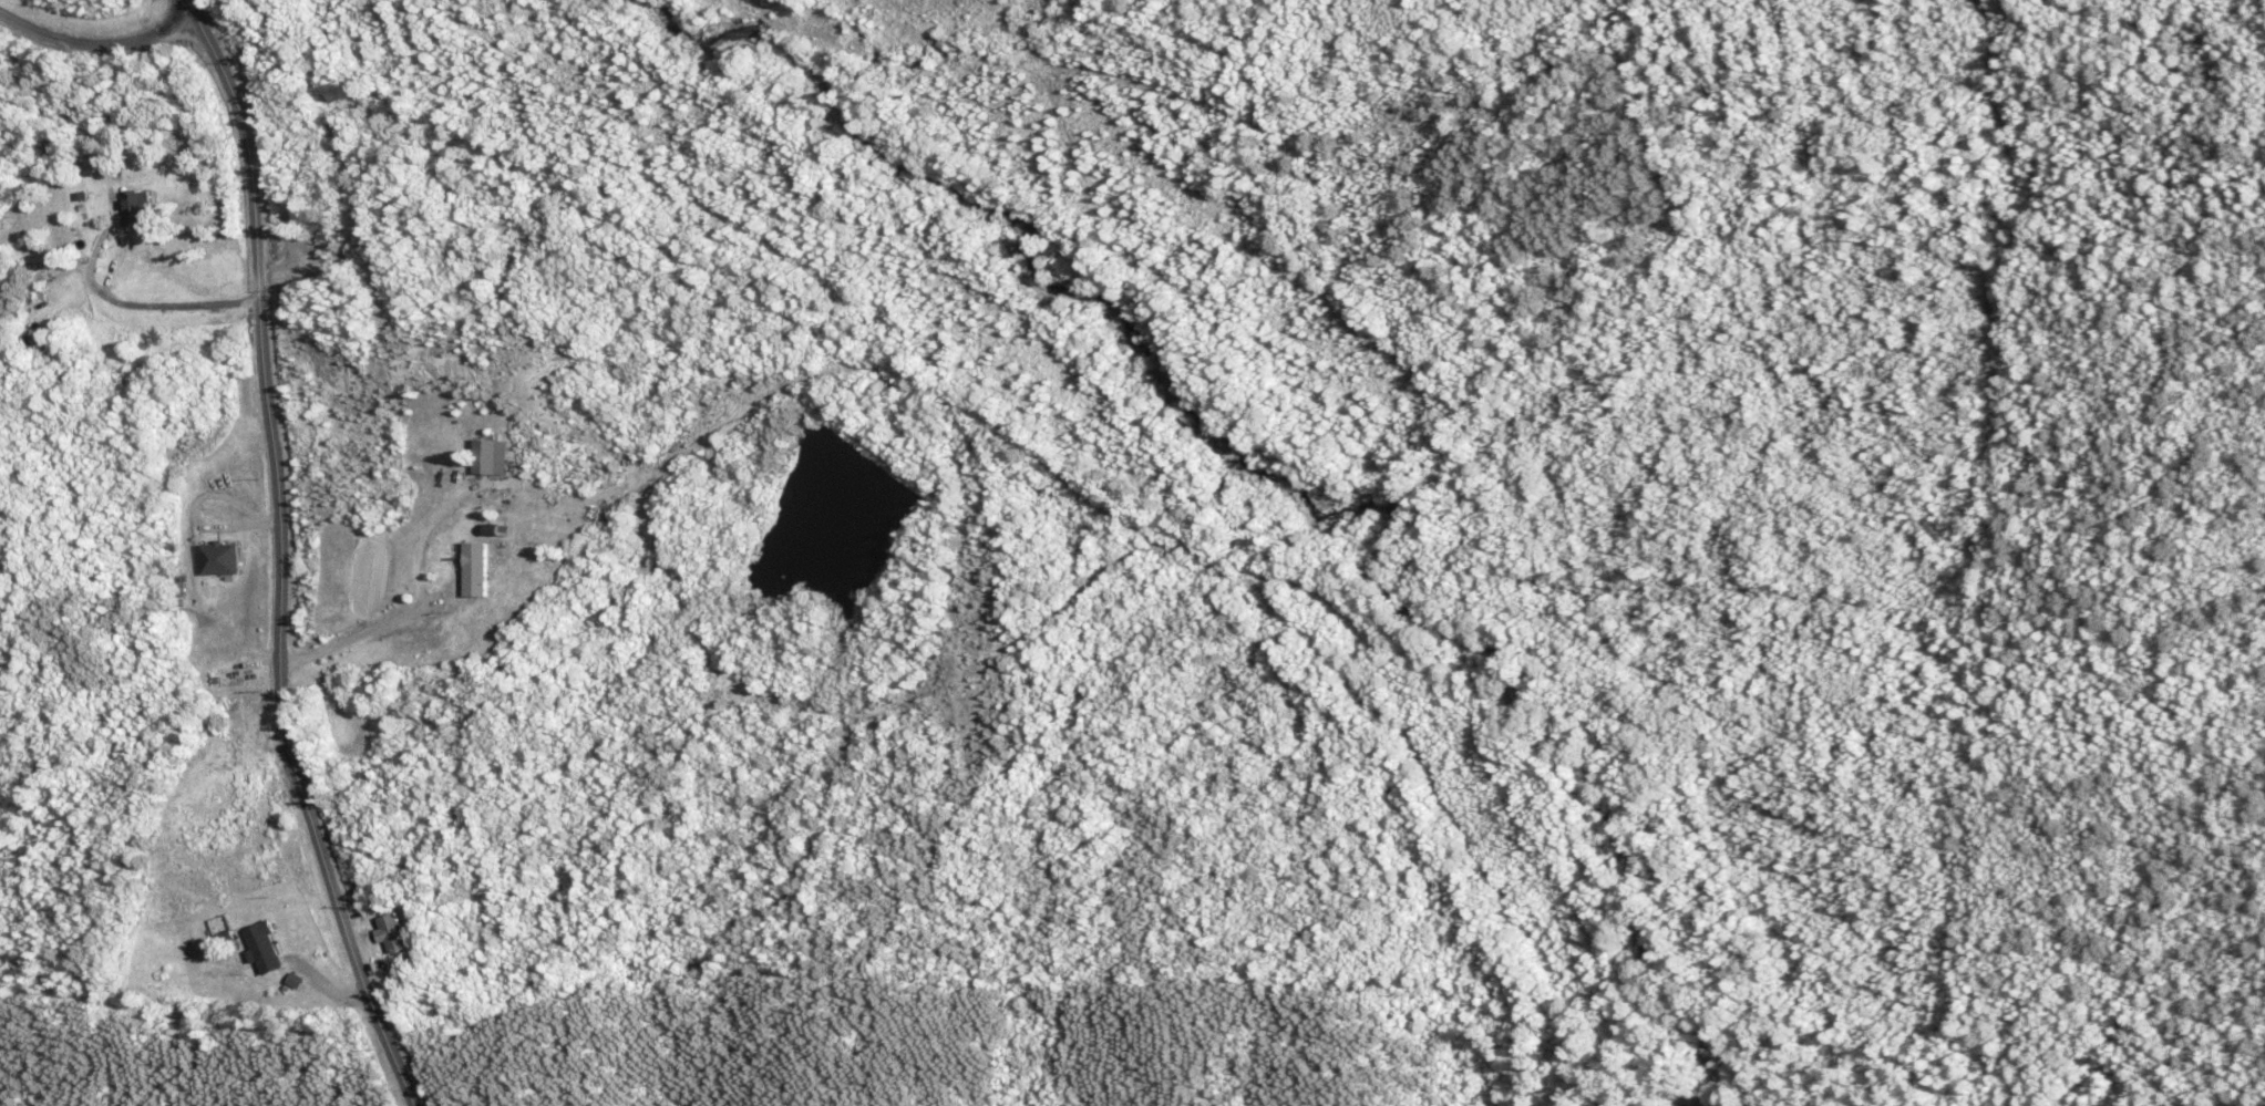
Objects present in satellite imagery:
road: (94, 41)
building: (134, 207)
building: (323, 246)
road: (132, 307)
building: (495, 507)
road: (277, 557)
building: (482, 559)
road: (354, 633)
building: (409, 645)
building: (224, 674)
building: (389, 931)
building: (262, 947)

